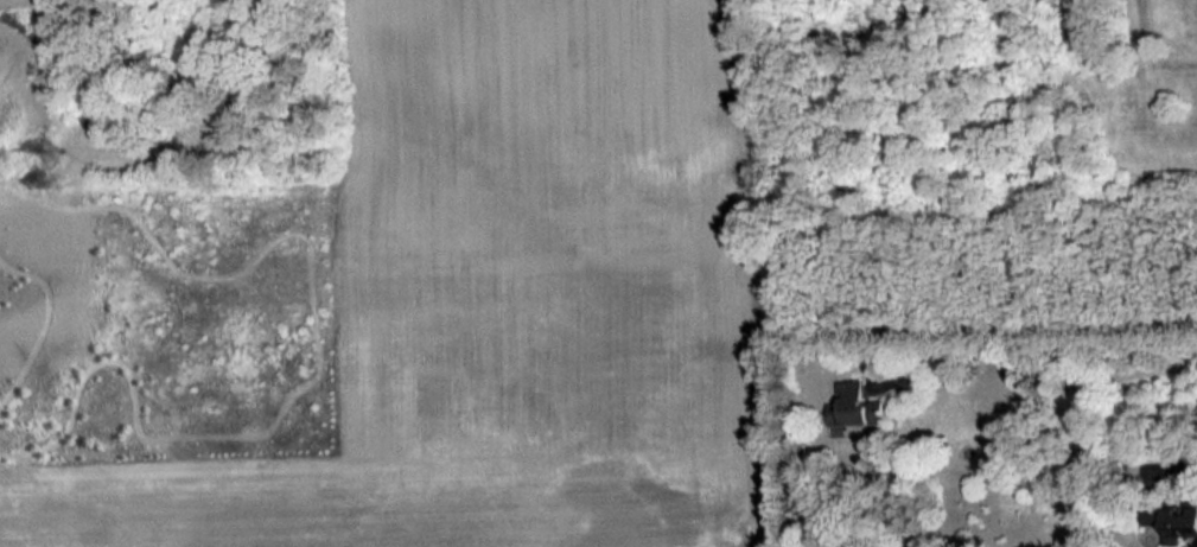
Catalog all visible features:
road: (1042, 364)
building: (854, 405)
road: (1182, 465)
building: (1173, 520)

